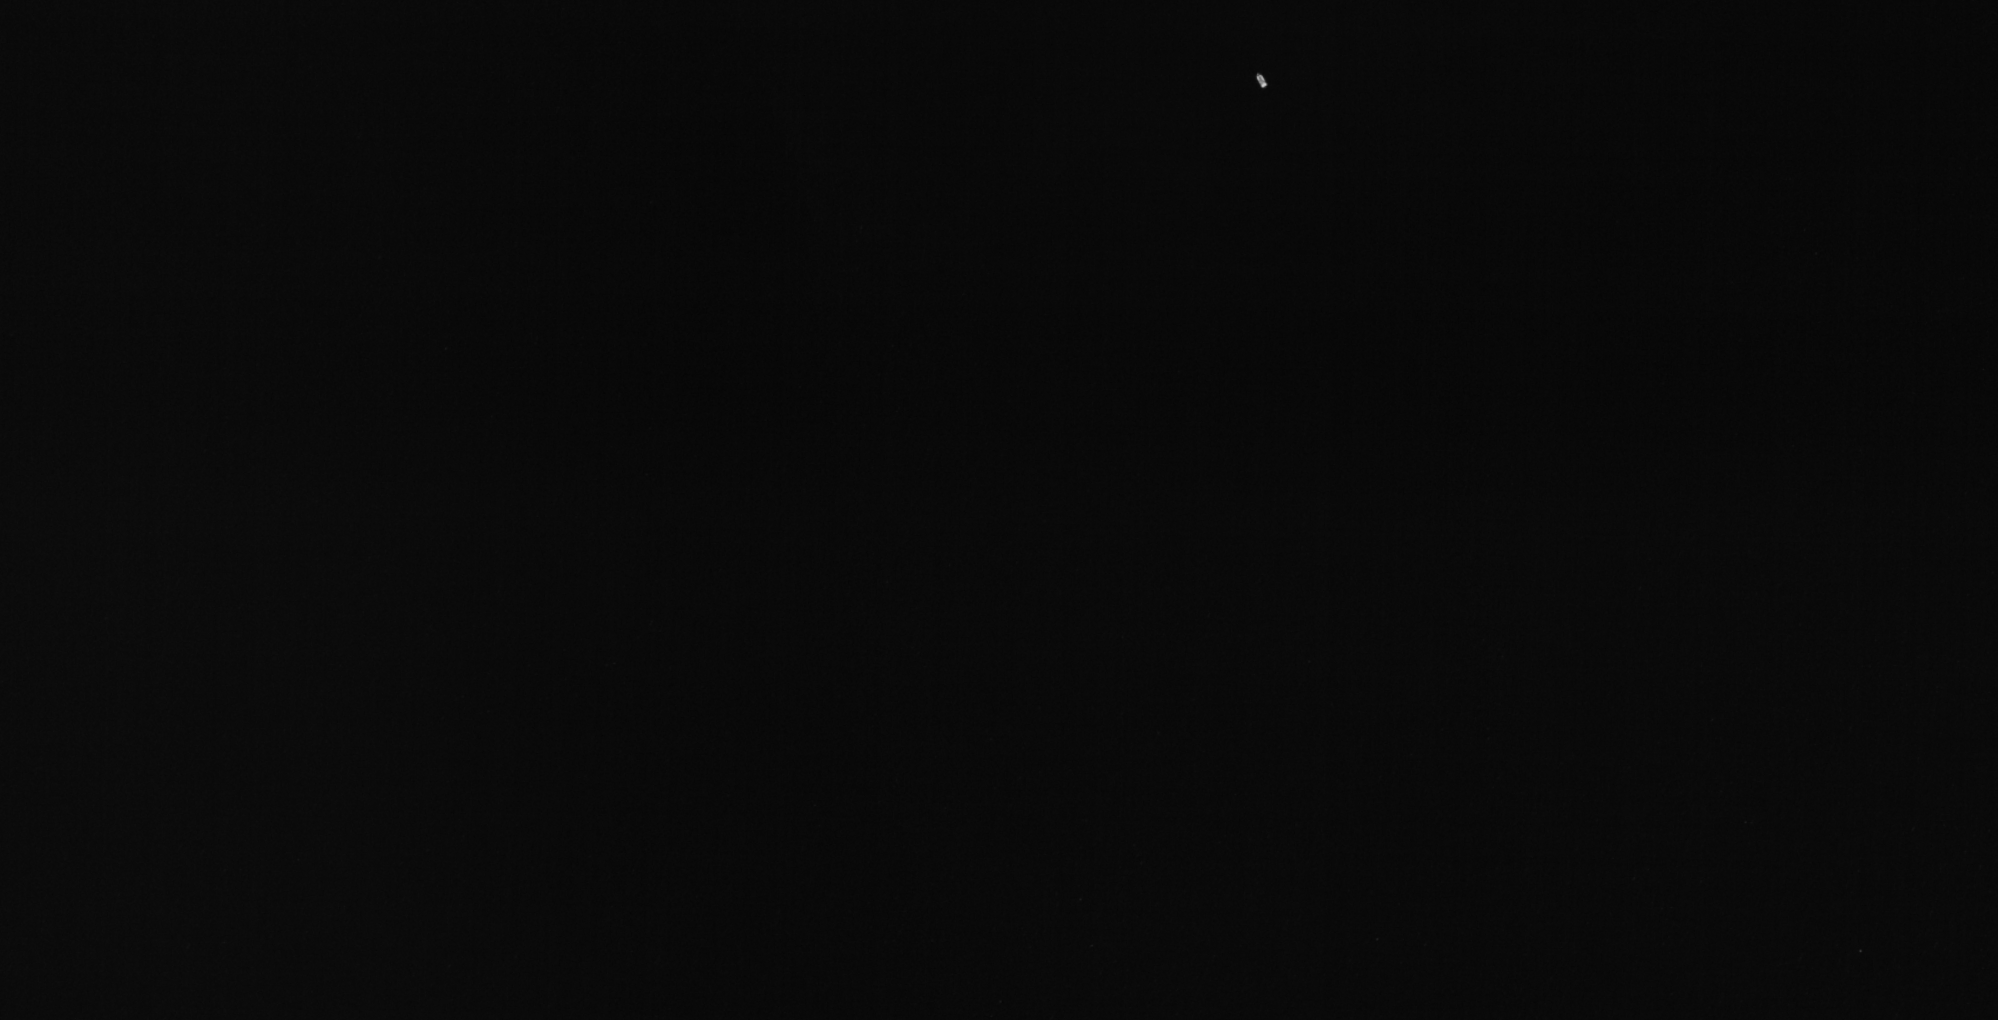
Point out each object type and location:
river: (383, 978)

